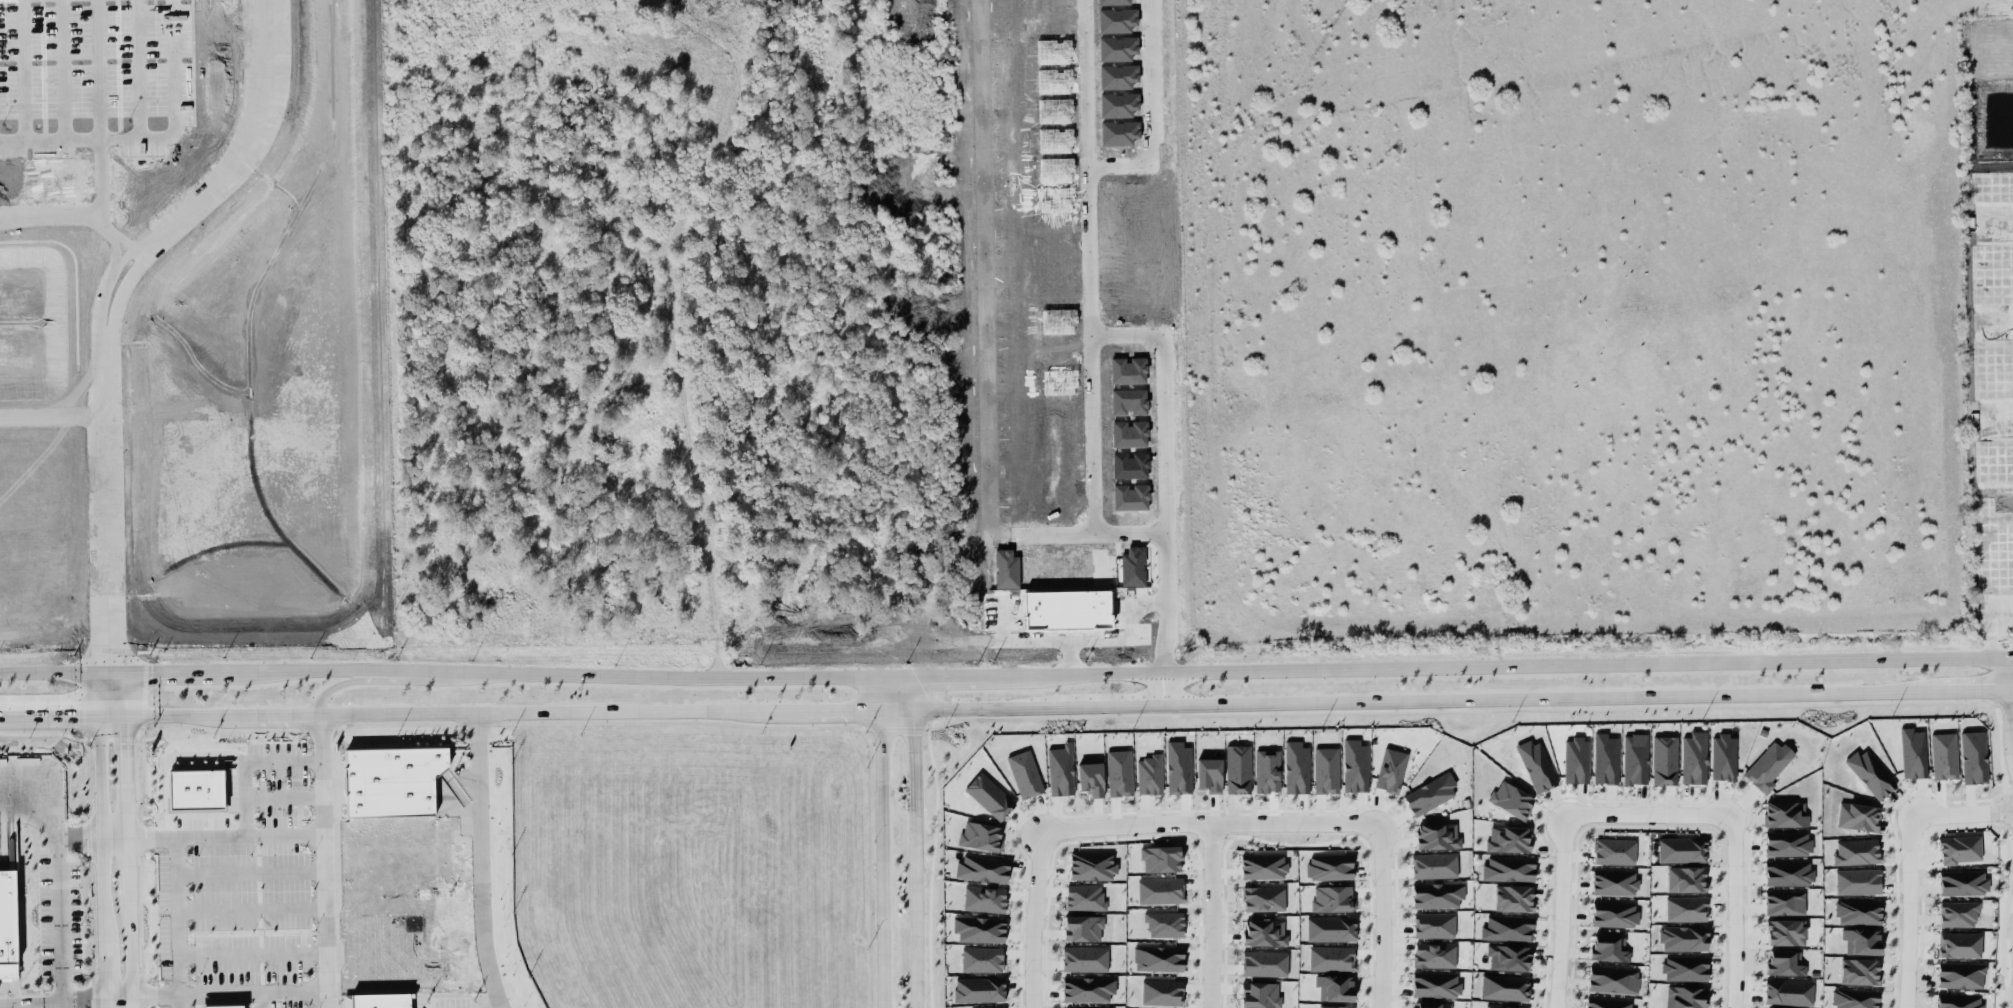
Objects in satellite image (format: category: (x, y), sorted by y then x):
road: (63, 68)
road: (99, 68)
road: (23, 69)
road: (138, 69)
road: (1084, 87)
road: (154, 138)
road: (1111, 168)
road: (99, 178)
road: (186, 212)
road: (74, 218)
road: (986, 322)
road: (672, 325)
road: (1158, 344)
road: (105, 495)
road: (1114, 638)
road: (1006, 671)
road: (341, 681)
road: (1164, 685)
road: (1006, 703)
road: (2010, 705)
building: (1913, 752)
road: (168, 755)
building: (1944, 755)
building: (1694, 757)
building: (1723, 757)
building: (1974, 757)
building: (1605, 758)
building: (1635, 758)
road: (245, 759)
building: (1576, 759)
building: (1664, 759)
building: (1354, 765)
building: (1536, 765)
building: (1178, 767)
building: (1296, 767)
building: (1767, 767)
building: (1237, 768)
building: (1060, 769)
building: (1325, 769)
building: (1390, 770)
building: (1119, 772)
building: (1870, 772)
building: (1024, 773)
building: (1149, 774)
building: (1209, 774)
building: (1090, 778)
building: (196, 789)
building: (1429, 794)
building: (989, 795)
road: (283, 798)
building: (1511, 799)
road: (1960, 812)
building: (1786, 814)
road: (1649, 815)
building: (1858, 816)
road: (1211, 824)
road: (189, 834)
building: (1437, 835)
building: (980, 836)
building: (1508, 838)
road: (100, 839)
road: (127, 839)
road: (881, 840)
road: (915, 840)
building: (1787, 843)
building: (1960, 848)
building: (1682, 849)
building: (1614, 851)
building: (1856, 851)
building: (1160, 858)
road: (323, 860)
road: (480, 860)
building: (1434, 864)
building: (1091, 865)
building: (1263, 865)
building: (1329, 866)
building: (982, 867)
building: (408, 868)
building: (1508, 868)
road: (249, 870)
building: (1788, 872)
building: (1686, 878)
building: (1857, 881)
building: (1614, 882)
building: (1962, 882)
road: (58, 884)
building: (1160, 890)
building: (1436, 894)
building: (1084, 896)
building: (984, 897)
building: (1513, 897)
building: (1263, 898)
building: (1332, 898)
building: (1784, 902)
building: (1686, 908)
road: (250, 910)
road: (1561, 911)
building: (1858, 911)
road: (1911, 911)
road: (1736, 912)
building: (1614, 913)
building: (1958, 913)
road: (1383, 915)
road: (1211, 916)
road: (1034, 918)
road: (176, 921)
parking lot: (252, 922)
building: (7, 923)
building: (1164, 923)
building: (1433, 924)
building: (1082, 927)
building: (1507, 927)
building: (979, 928)
building: (1330, 928)
building: (1785, 931)
building: (1264, 932)
building: (1683, 937)
building: (1861, 940)
building: (1959, 944)
building: (1609, 947)
road: (251, 954)
building: (1434, 954)
building: (1085, 957)
building: (1331, 957)
building: (1509, 957)
building: (982, 958)
building: (1158, 958)
building: (1785, 962)
building: (1264, 963)
building: (1685, 967)
building: (1859, 971)
building: (1960, 974)
building: (1613, 979)
building: (1435, 984)
building: (1334, 987)
building: (1504, 987)
building: (1087, 988)
building: (979, 989)
building: (1161, 991)
road: (162, 992)
building: (1788, 992)
building: (1260, 994)
building: (1686, 996)
building: (1854, 998)
road: (265, 1000)
building: (1958, 1000)
building: (1609, 1003)
road: (23, 1005)
parking lot: (66, 1006)
building: (223, 1006)
building: (1335, 1006)
building: (1504, 1006)
building: (992, 1007)
building: (1080, 1007)
building: (1767, 1007)

